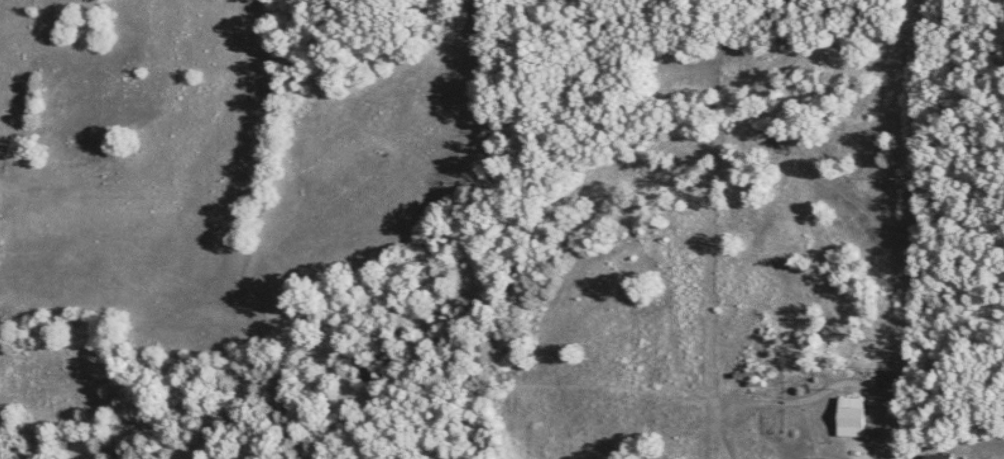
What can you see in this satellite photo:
road: (909, 229)
building: (850, 416)
building: (936, 456)

